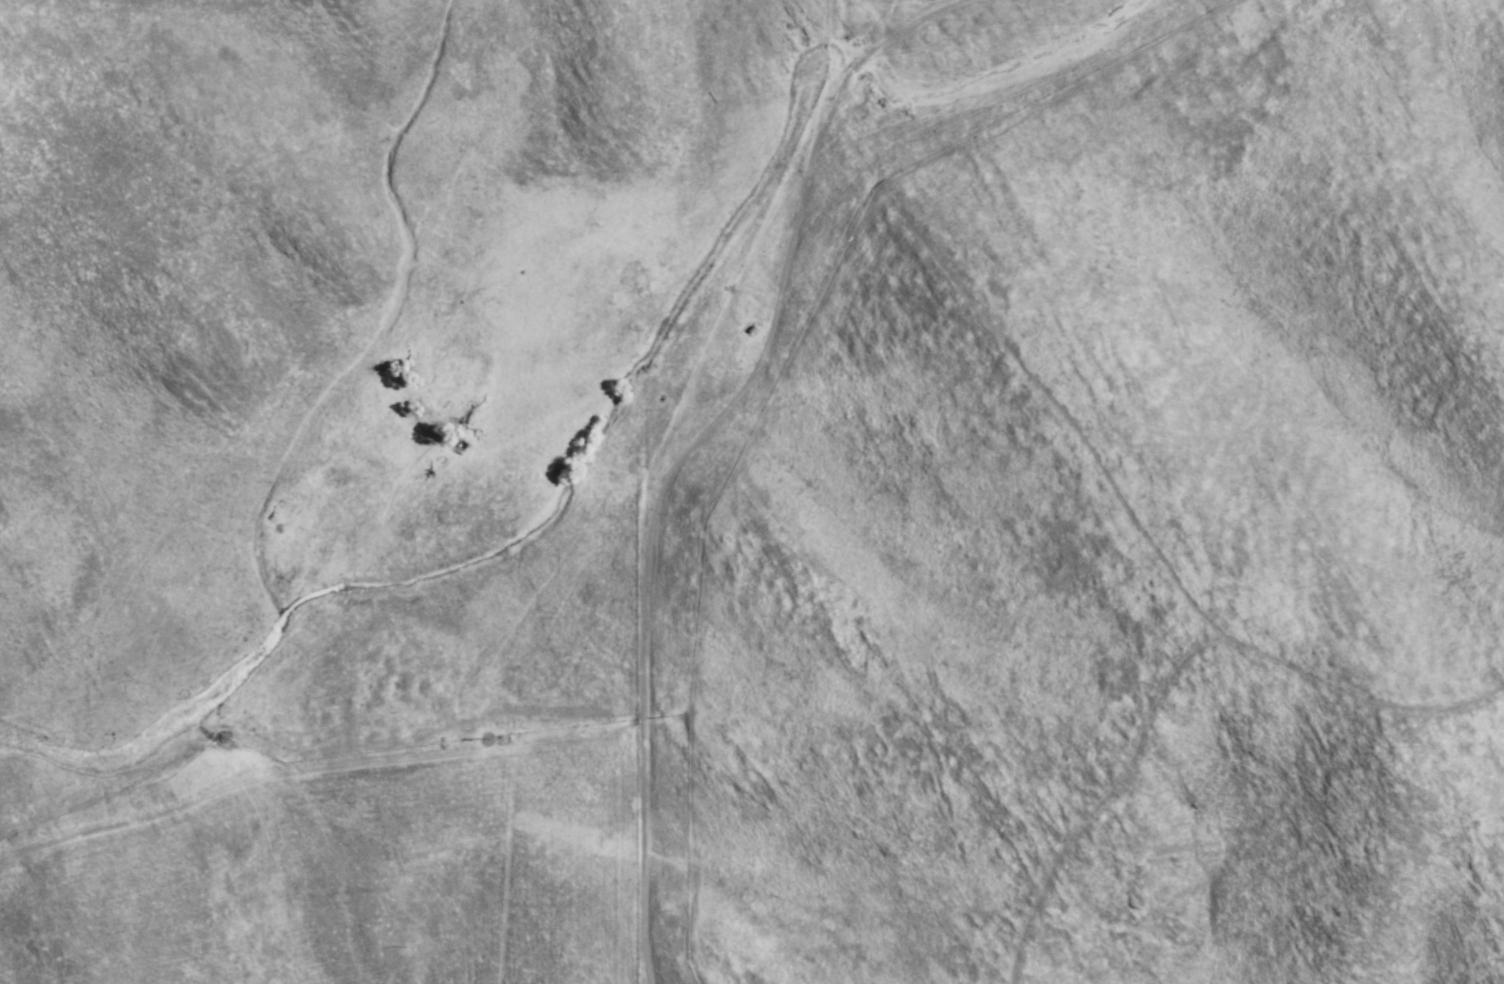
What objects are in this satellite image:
road: (659, 459)

